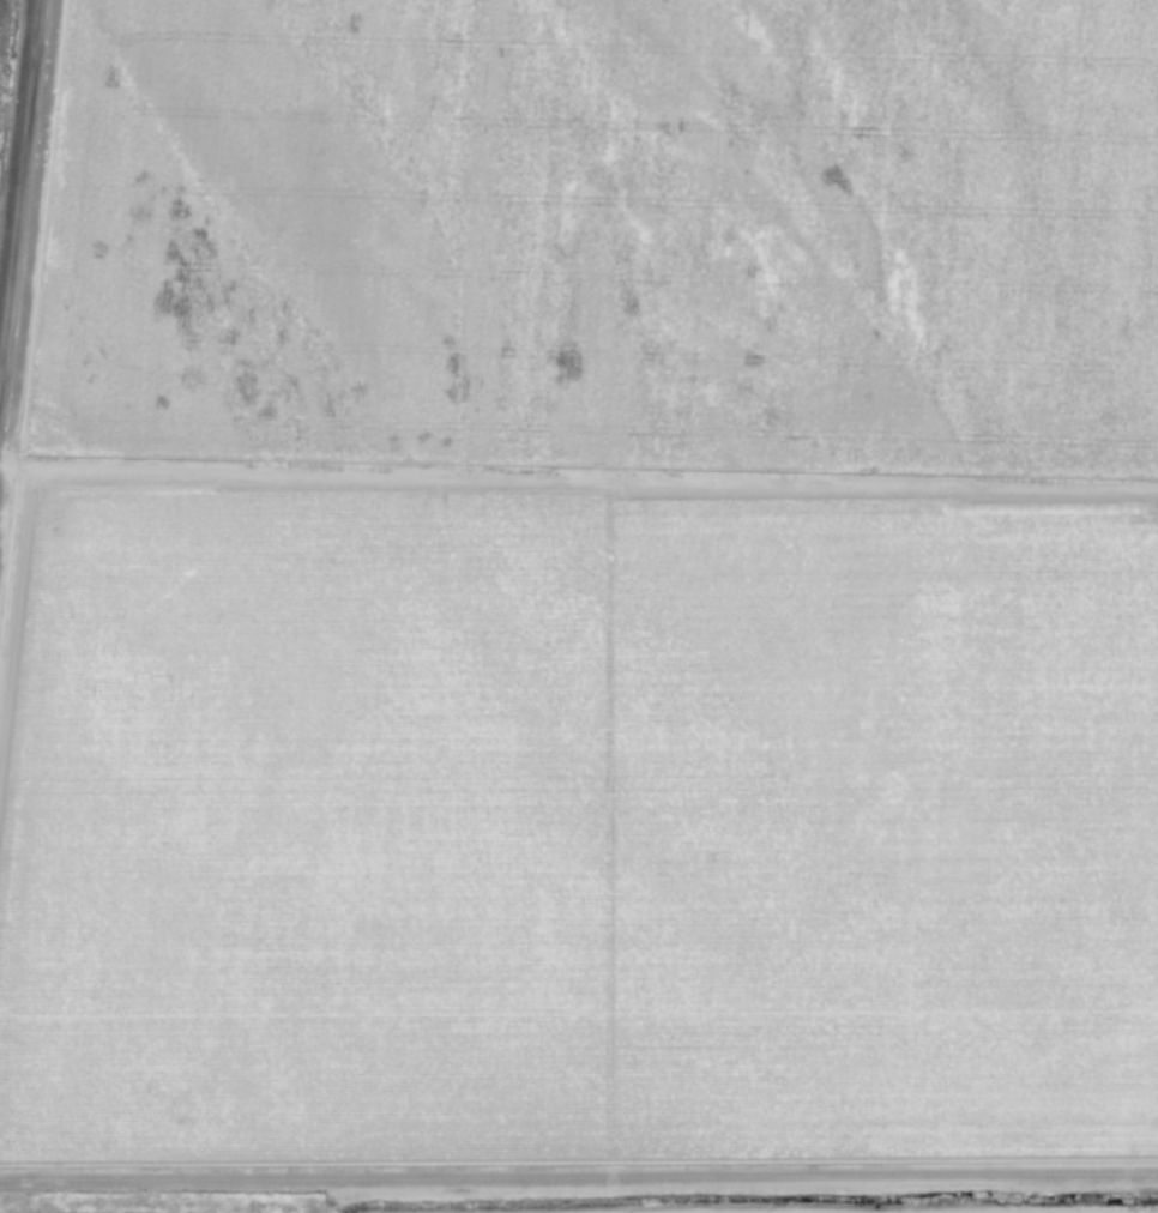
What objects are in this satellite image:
road: (19, 187)
road: (579, 479)
road: (579, 1178)
road: (1124, 1212)

